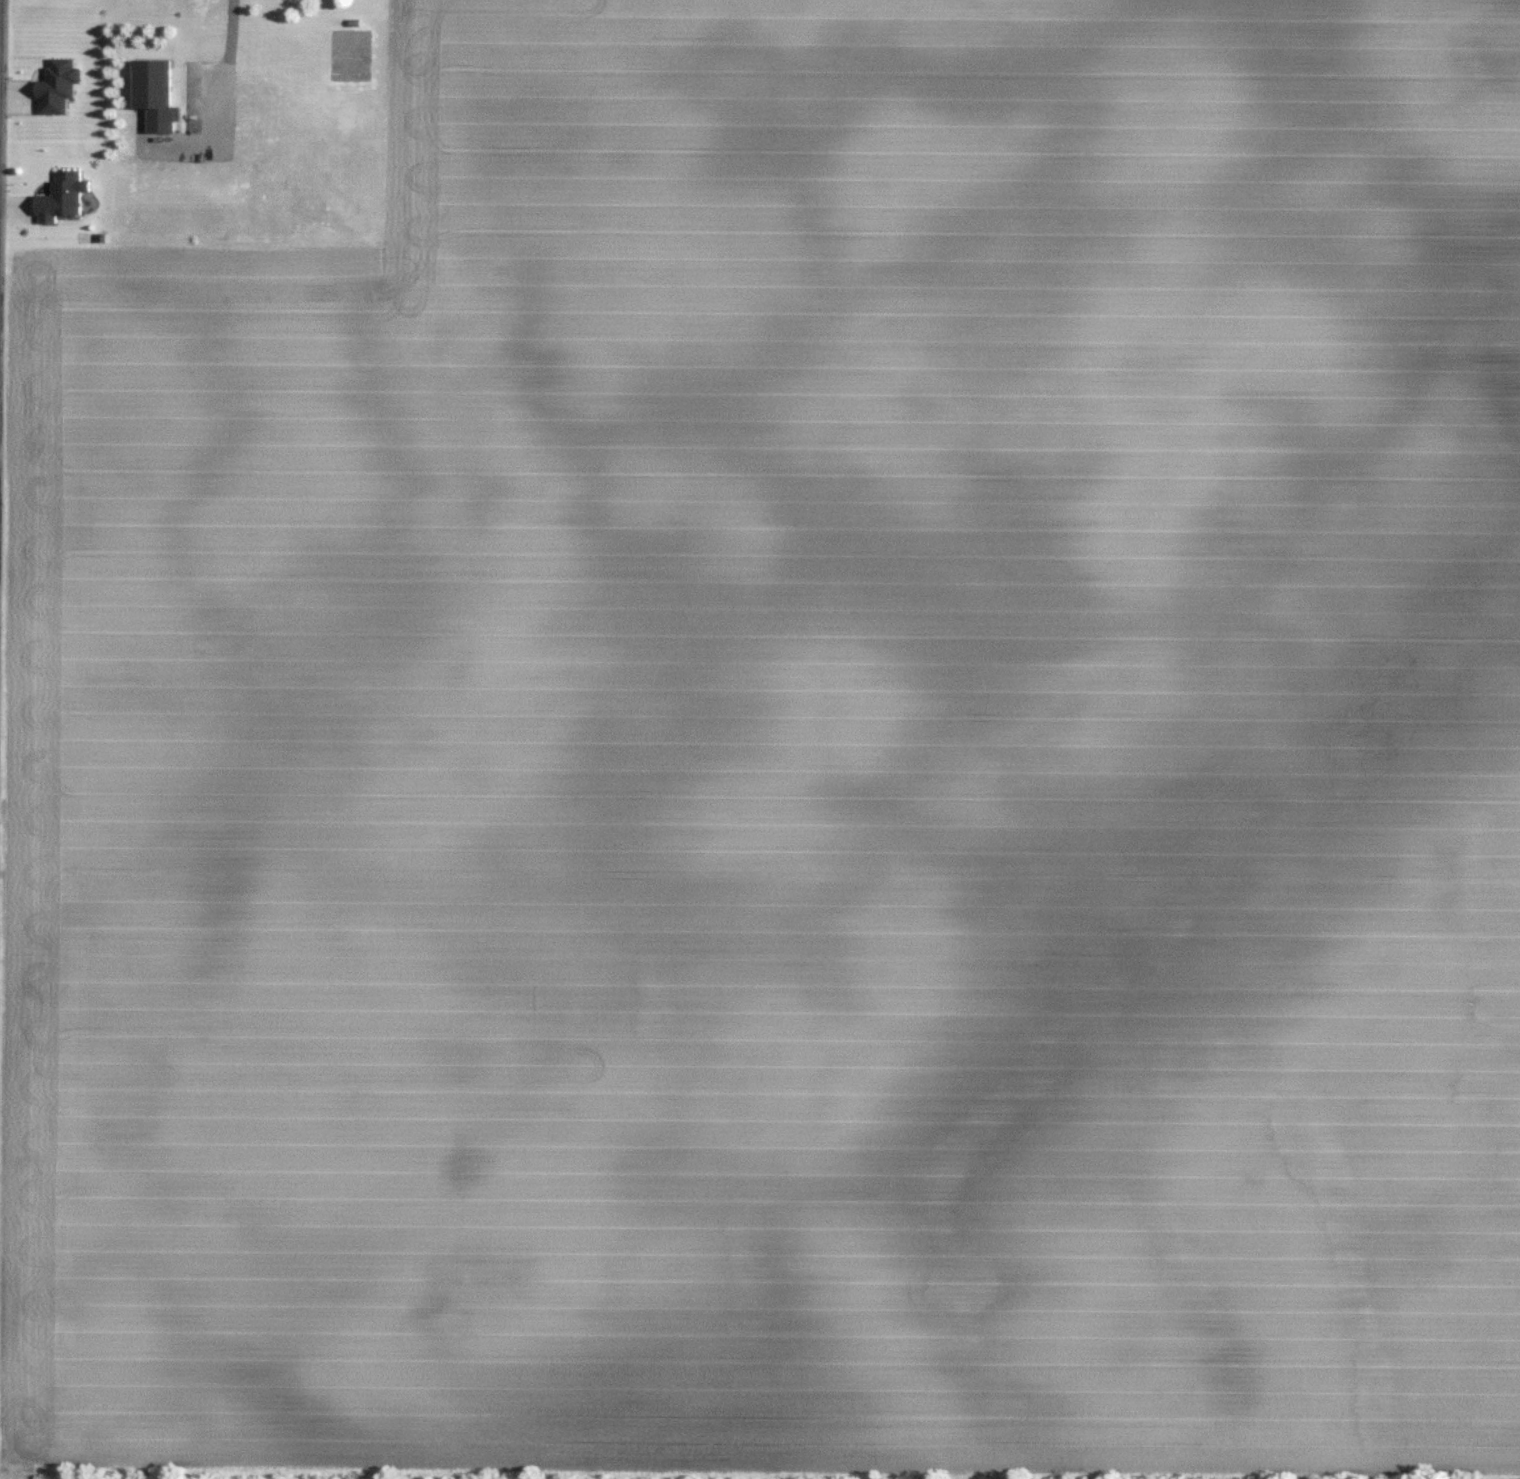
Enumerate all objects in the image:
road: (229, 57)
building: (159, 92)
road: (1, 157)

